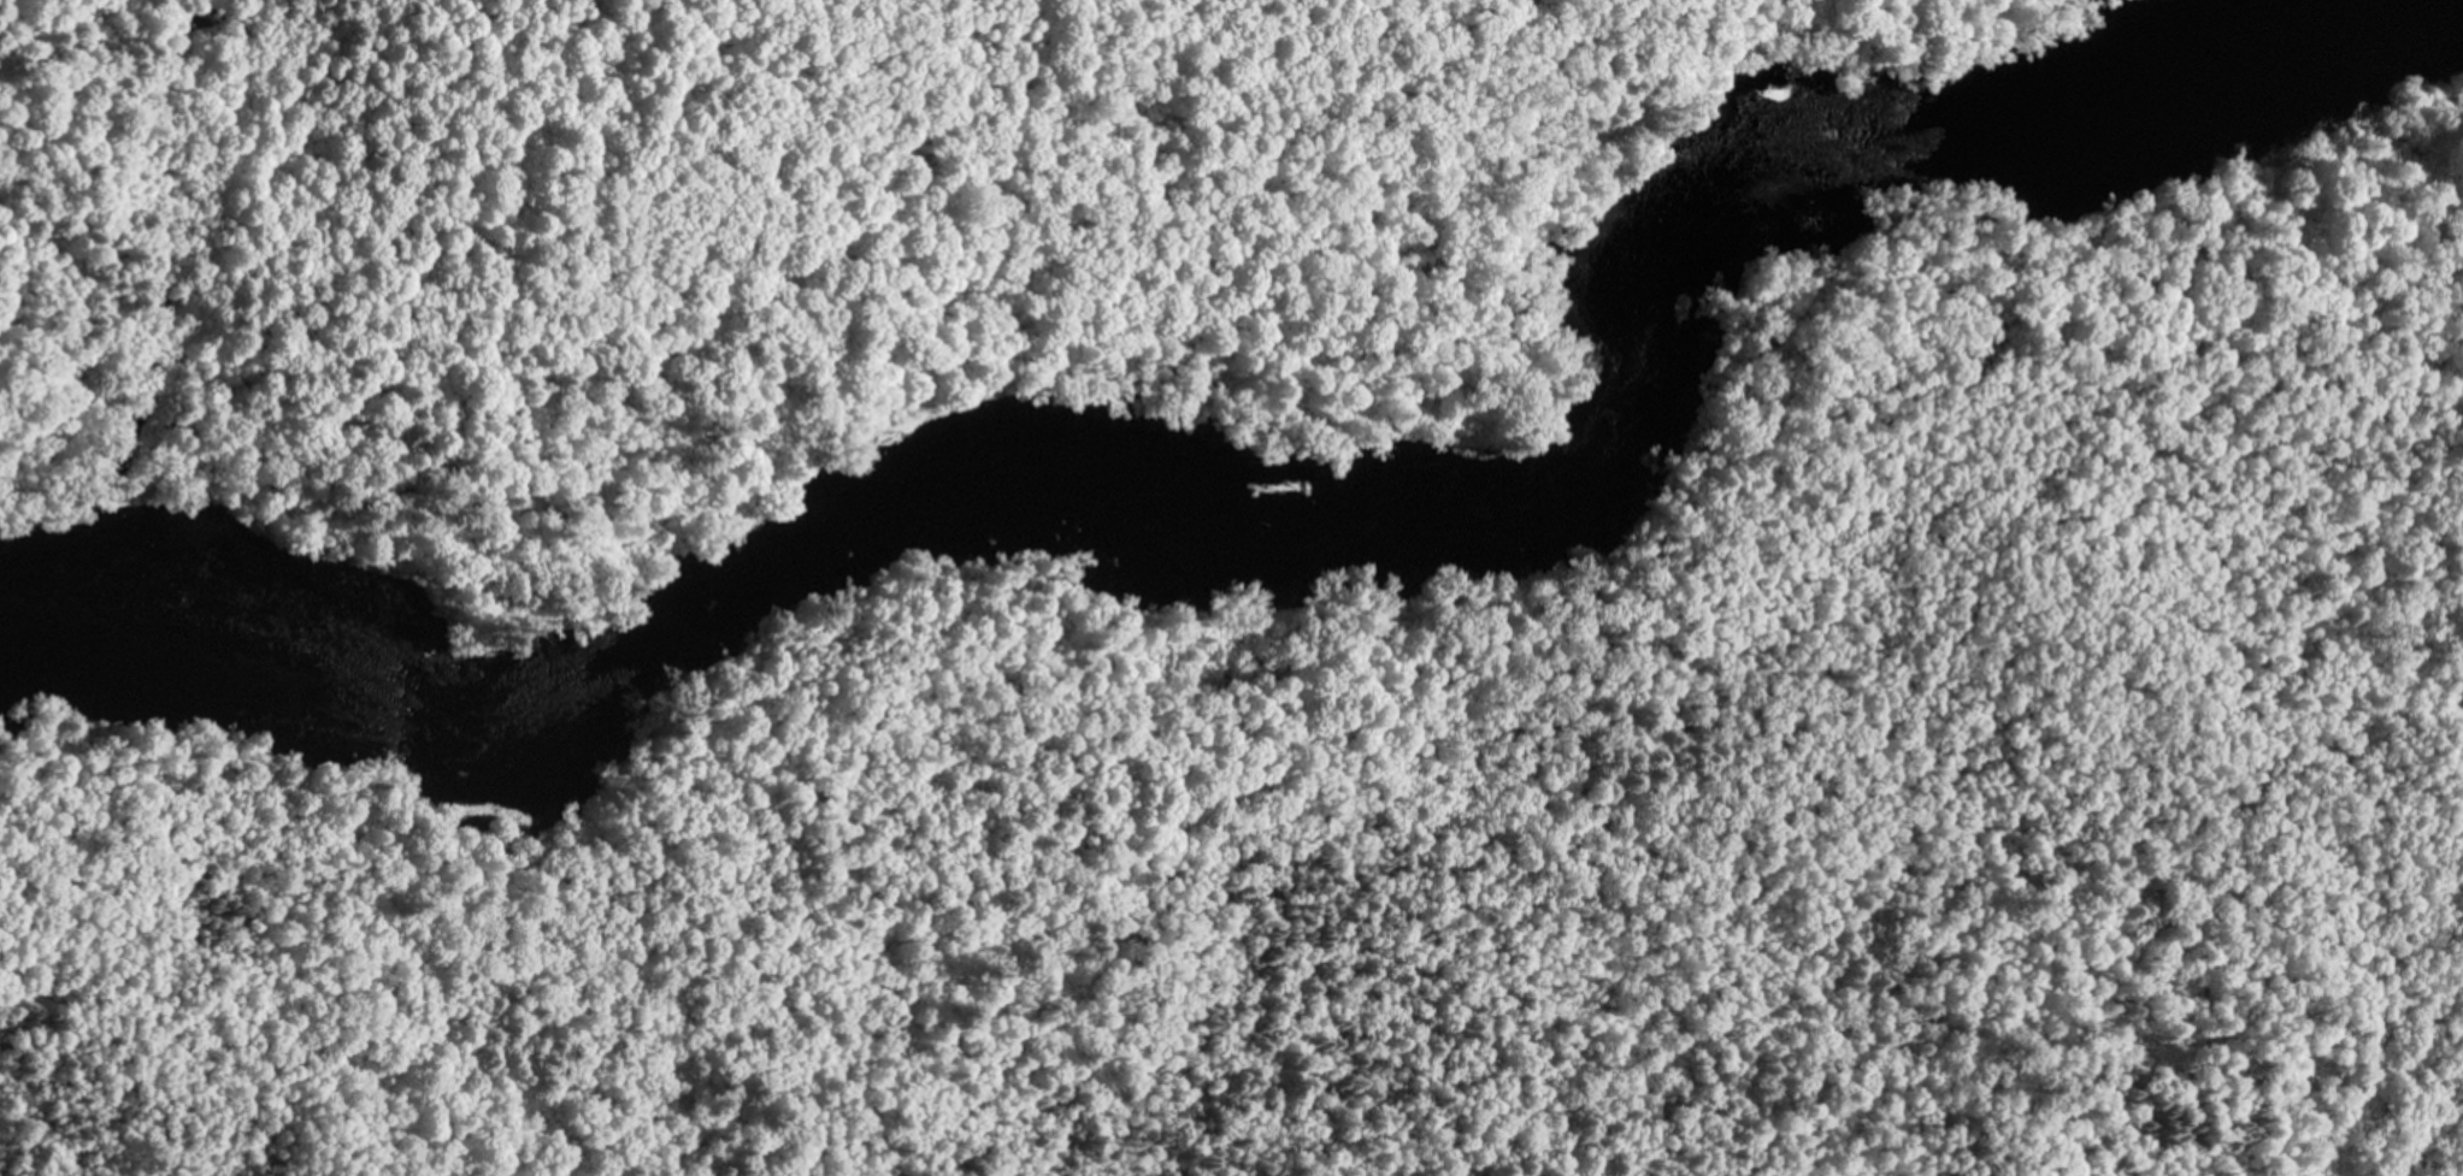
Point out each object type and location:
river: (1254, 521)

